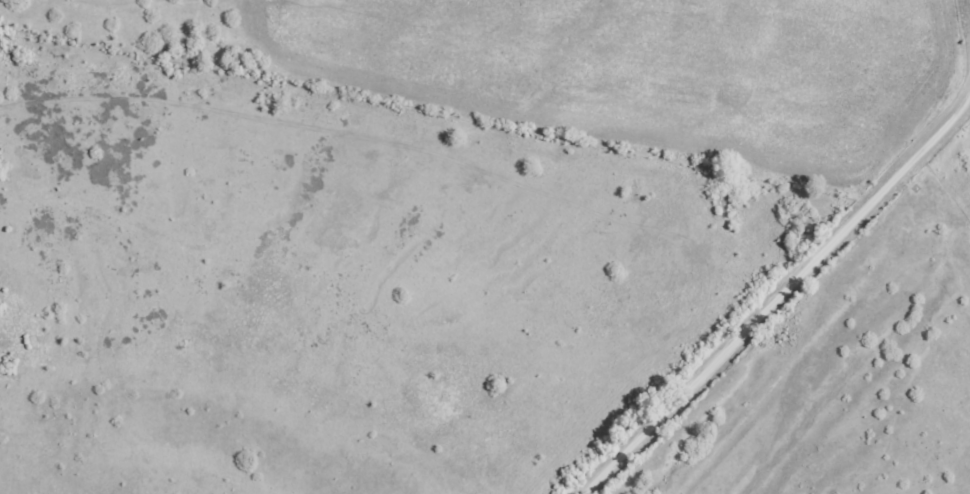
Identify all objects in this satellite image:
road: (778, 293)

